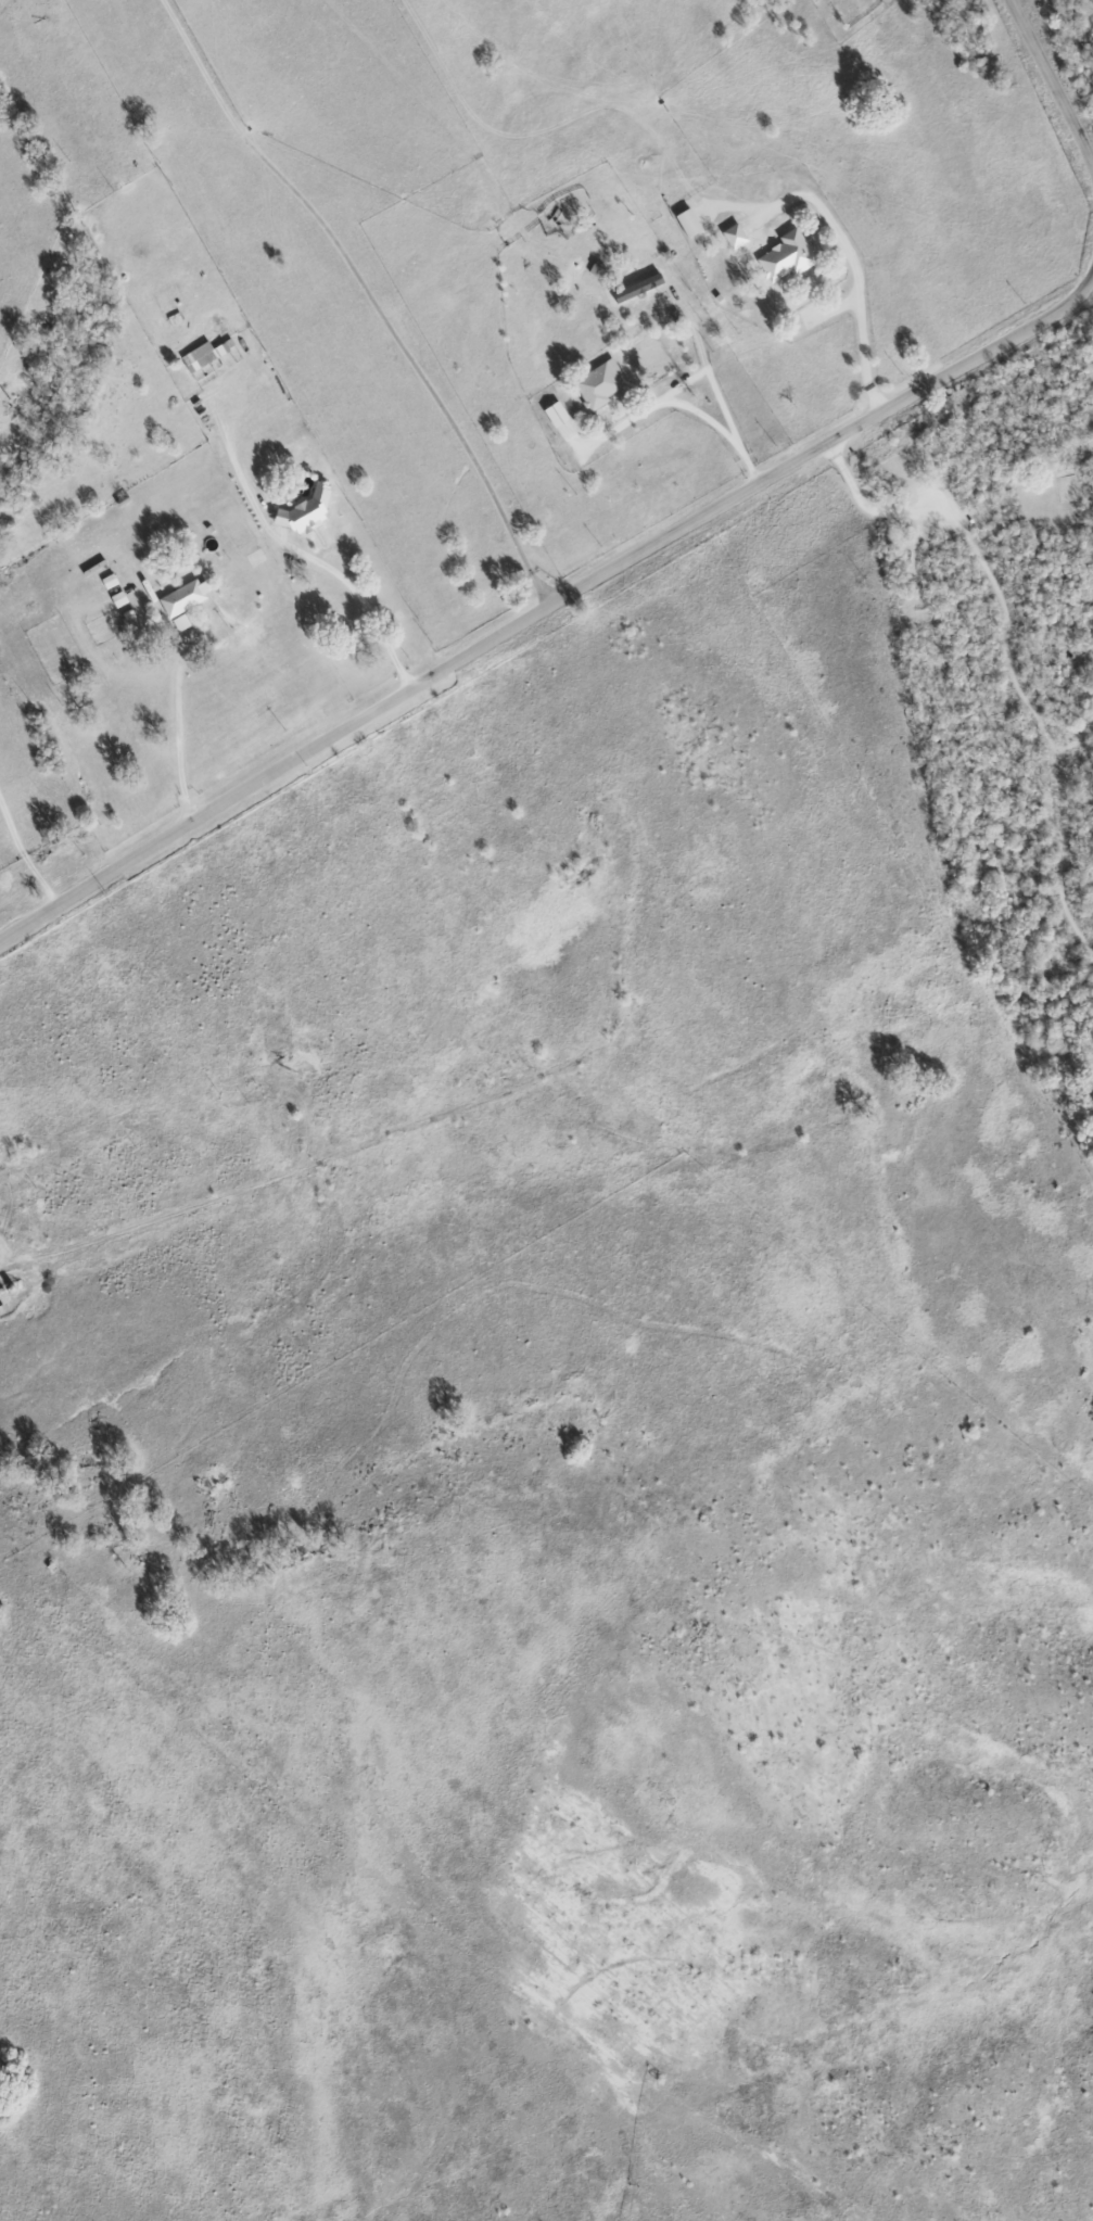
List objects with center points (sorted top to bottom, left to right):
road: (1052, 86)
building: (686, 223)
building: (733, 236)
building: (785, 256)
road: (368, 293)
road: (859, 314)
building: (201, 355)
building: (597, 384)
road: (687, 405)
building: (554, 414)
building: (303, 511)
road: (319, 526)
building: (183, 597)
road: (548, 606)
building: (179, 622)
road: (178, 734)
road: (24, 854)

